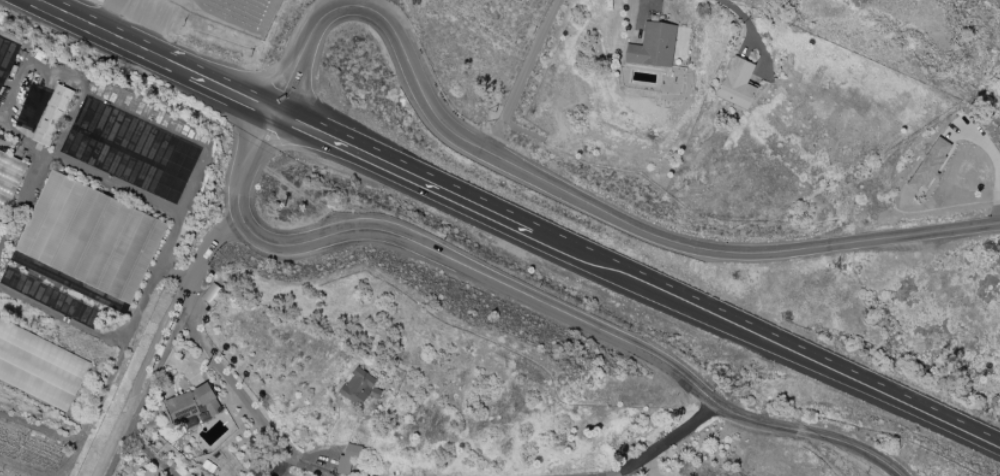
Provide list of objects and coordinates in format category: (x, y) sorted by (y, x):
building: (519, 0)
road: (388, 5)
road: (95, 24)
road: (752, 30)
building: (652, 46)
road: (527, 73)
road: (206, 79)
building: (737, 84)
building: (31, 108)
building: (51, 115)
building: (928, 165)
road: (414, 176)
building: (9, 177)
road: (567, 183)
road: (127, 188)
road: (23, 198)
building: (90, 237)
road: (522, 292)
road: (165, 325)
road: (96, 337)
road: (779, 345)
building: (39, 365)
road: (240, 386)
building: (359, 388)
road: (661, 446)
road: (144, 450)
building: (347, 459)
road: (286, 466)

